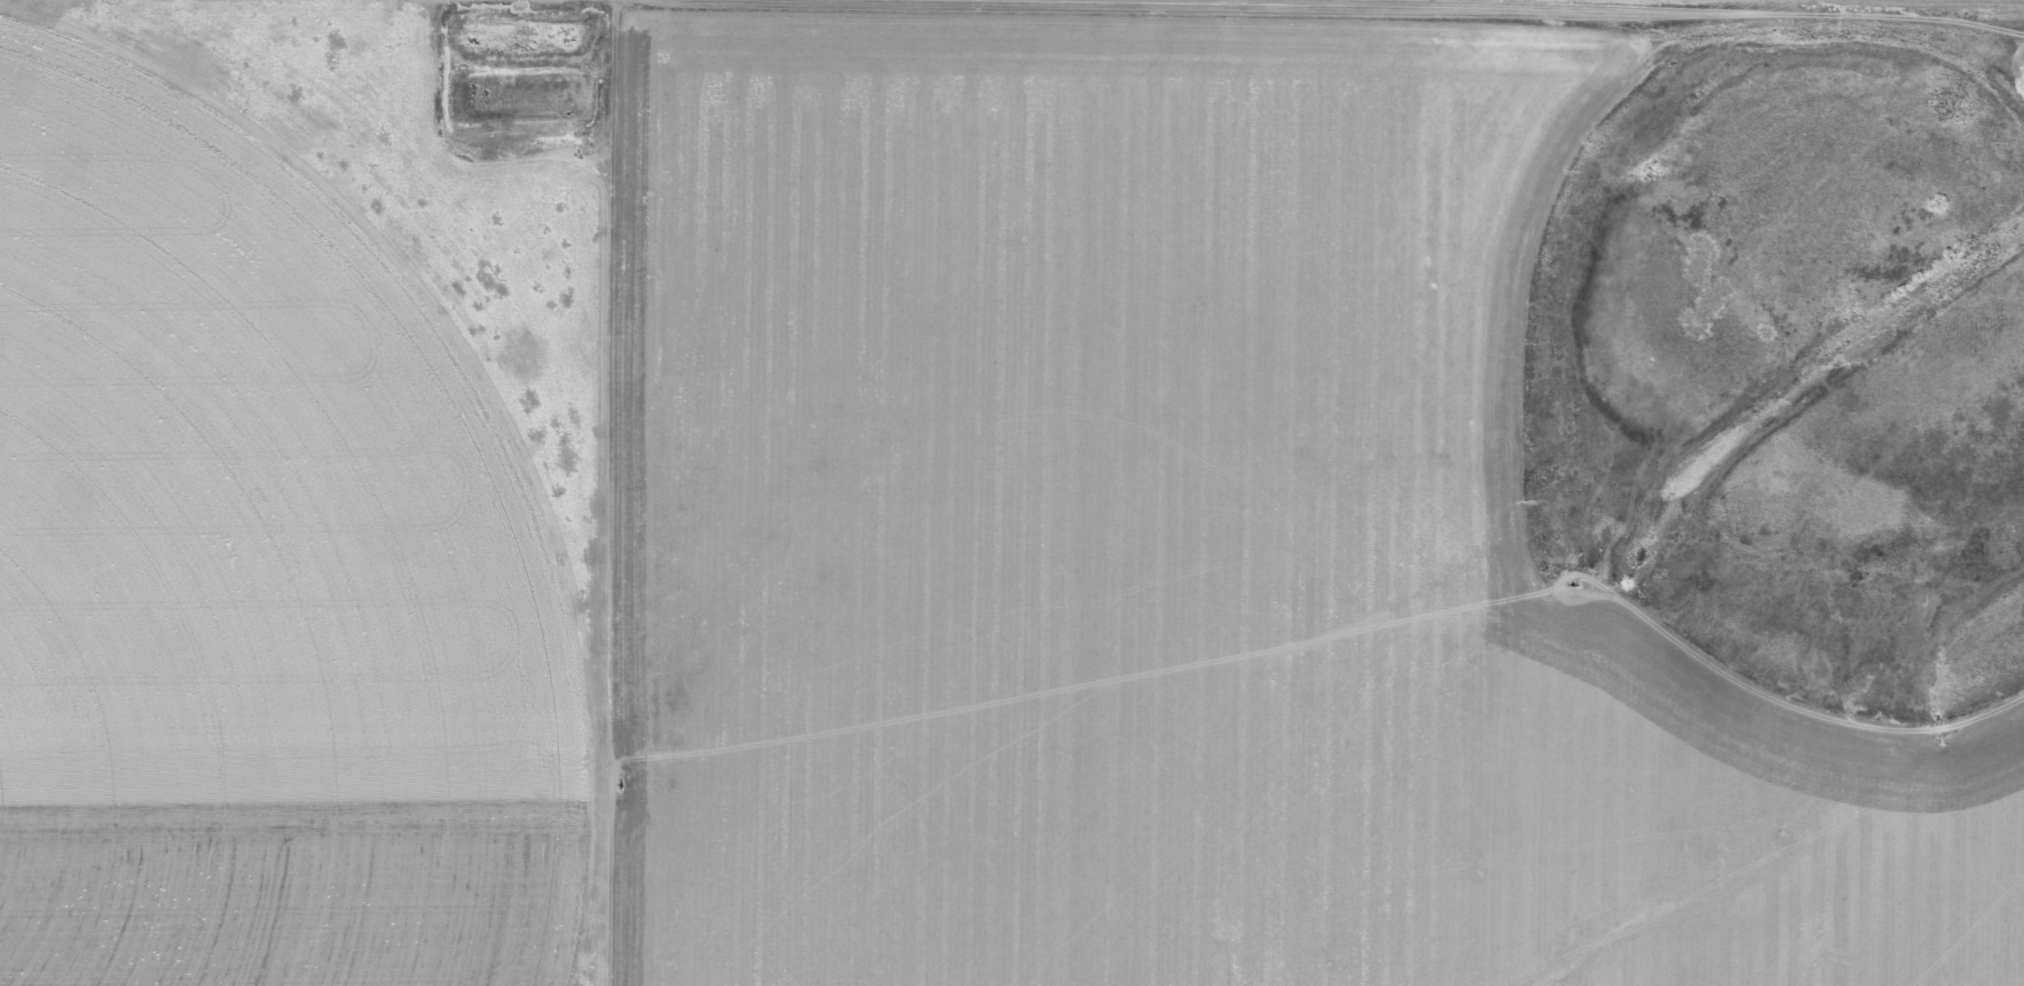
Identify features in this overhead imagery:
road: (1978, 5)
road: (814, 12)
road: (605, 500)

